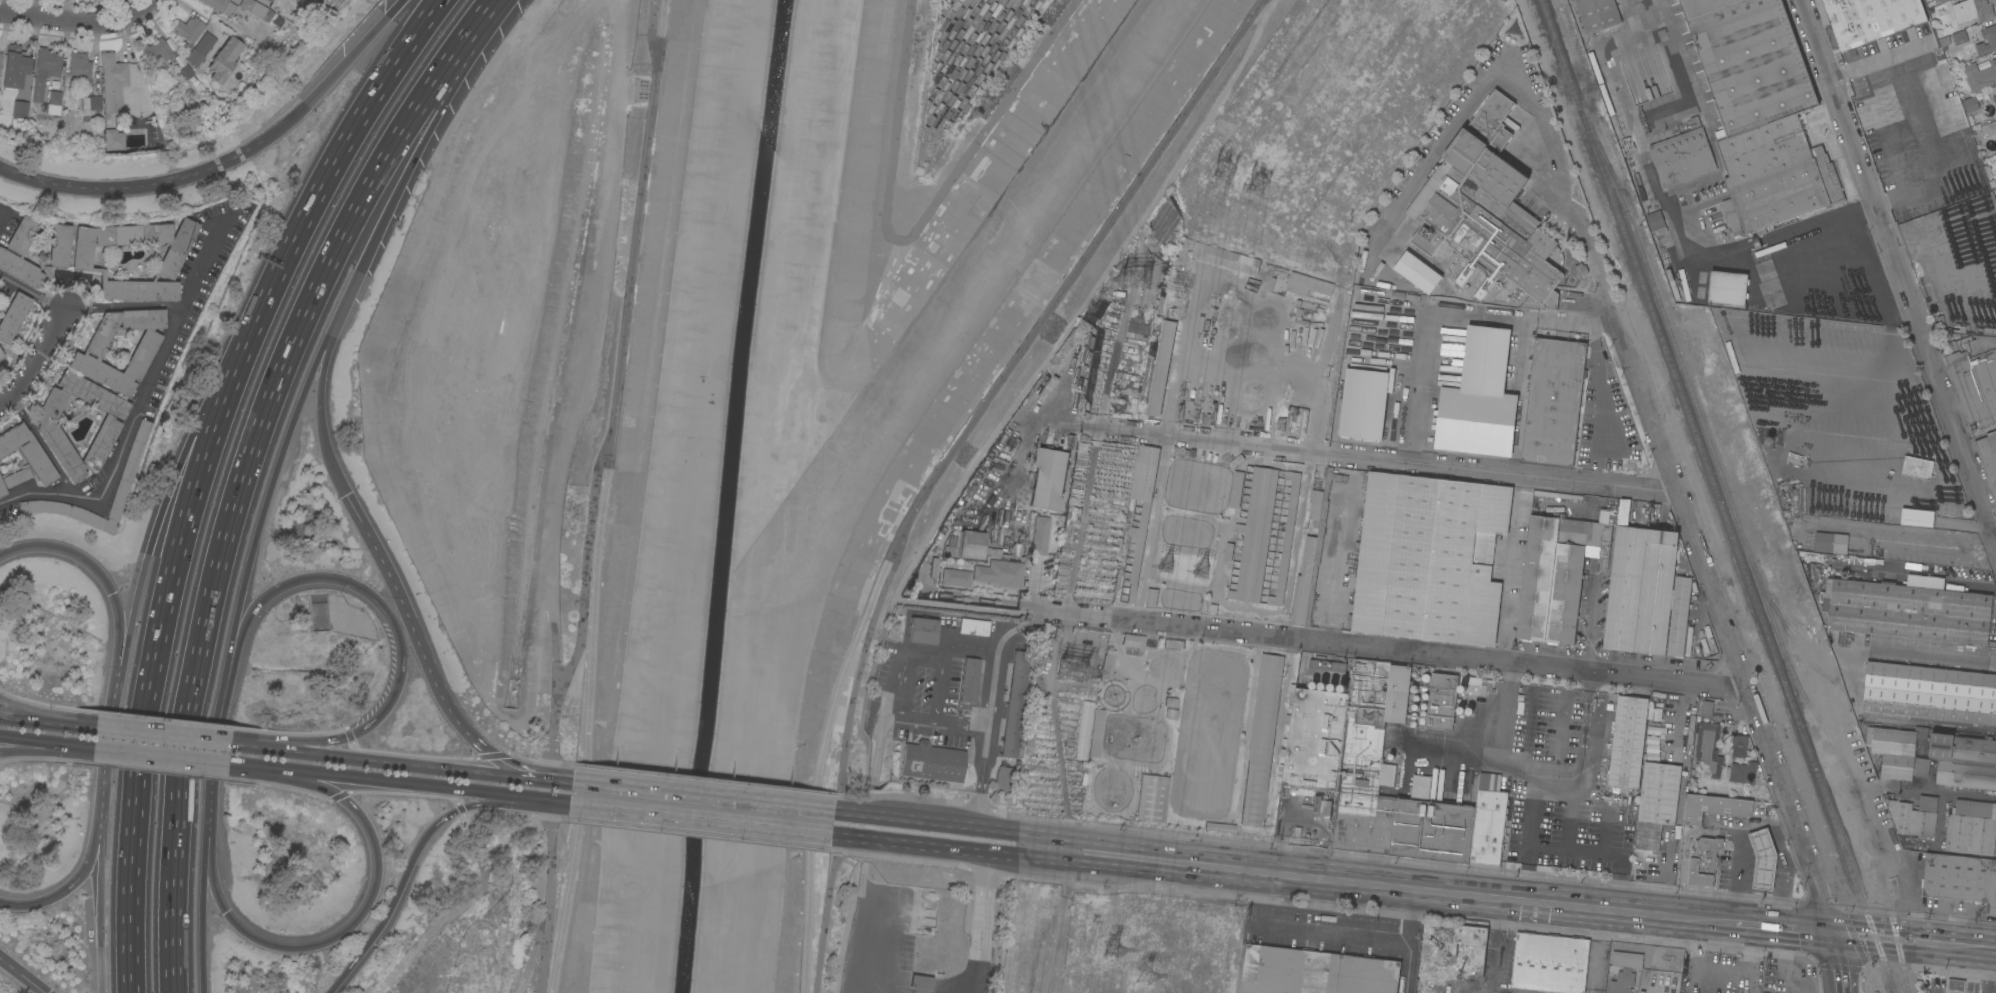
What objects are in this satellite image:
building: (1945, 0)
building: (262, 1)
building: (221, 6)
road: (145, 9)
building: (257, 9)
building: (1973, 10)
building: (1597, 14)
building: (1870, 19)
building: (277, 21)
road: (64, 22)
building: (189, 30)
building: (1960, 36)
building: (1987, 40)
building: (205, 43)
building: (159, 51)
railway: (1559, 53)
building: (194, 57)
building: (0, 58)
building: (223, 59)
road: (1873, 60)
building: (79, 65)
building: (14, 66)
building: (185, 71)
road: (333, 71)
building: (44, 72)
building: (112, 76)
building: (1980, 76)
building: (1994, 99)
building: (90, 102)
building: (52, 103)
building: (1970, 104)
building: (20, 109)
building: (1761, 112)
building: (1989, 128)
building: (113, 140)
road: (422, 140)
road: (1894, 143)
road: (1439, 151)
building: (1682, 156)
road: (333, 169)
power tower: (1221, 174)
road: (134, 185)
power tower: (1256, 187)
building: (1485, 210)
building: (1655, 220)
road: (1814, 220)
road: (635, 221)
building: (1698, 222)
road: (1673, 231)
building: (58, 250)
building: (173, 256)
building: (1210, 258)
road: (201, 265)
building: (1417, 272)
road: (1071, 273)
road: (1899, 273)
power tower: (1133, 280)
building: (1768, 280)
building: (1307, 284)
building: (1727, 287)
road: (32, 292)
road: (1083, 300)
road: (124, 304)
building: (13, 315)
road: (1606, 316)
building: (1988, 332)
road: (1892, 343)
building: (1164, 351)
building: (142, 353)
building: (0, 355)
road: (37, 357)
river: (926, 358)
road: (280, 365)
building: (1974, 376)
building: (1431, 387)
road: (319, 392)
building: (1484, 393)
road: (1599, 400)
building: (1552, 402)
building: (1362, 404)
road: (1514, 413)
building: (1586, 416)
building: (109, 425)
water tower: (1768, 441)
road: (41, 444)
road: (1683, 448)
road: (120, 449)
building: (27, 451)
building: (1926, 454)
building: (1988, 457)
road: (1379, 460)
building: (1917, 467)
building: (13, 478)
building: (1049, 478)
building: (118, 484)
building: (1236, 489)
river: (727, 495)
road: (266, 496)
railway: (1706, 496)
building: (1315, 505)
building: (45, 506)
road: (162, 515)
road: (195, 516)
building: (1144, 518)
building: (1915, 518)
building: (1040, 534)
building: (1255, 535)
building: (1601, 535)
building: (1286, 538)
building: (1319, 538)
railway: (1732, 538)
road: (1994, 538)
building: (1830, 542)
building: (971, 544)
building: (1228, 551)
building: (1307, 555)
building: (1429, 559)
power tower: (1166, 567)
road: (1513, 567)
power tower: (1200, 572)
building: (1000, 573)
building: (956, 577)
road: (104, 579)
building: (1551, 580)
building: (1640, 590)
road: (372, 597)
building: (1151, 597)
building: (1300, 599)
road: (968, 606)
road: (580, 611)
building: (1908, 611)
building: (1679, 616)
road: (1724, 623)
building: (974, 626)
building: (923, 630)
building: (1133, 640)
road: (1396, 648)
road: (920, 650)
road: (422, 653)
power tower: (1068, 661)
building: (1107, 663)
road: (856, 678)
building: (969, 680)
parking lot: (916, 682)
road: (942, 687)
road: (867, 693)
building: (1930, 693)
building: (1441, 700)
building: (1170, 701)
building: (1014, 704)
road: (20, 706)
road: (989, 706)
building: (1706, 708)
building: (1171, 714)
road: (18, 716)
road: (587, 719)
road: (915, 721)
road: (67, 723)
road: (962, 727)
building: (1083, 730)
road: (148, 732)
parking lot: (931, 733)
building: (1096, 733)
road: (163, 735)
building: (1261, 739)
road: (47, 741)
building: (1627, 741)
road: (108, 743)
road: (46, 746)
building: (1739, 746)
building: (1708, 747)
road: (877, 749)
road: (215, 752)
building: (1899, 752)
road: (162, 755)
road: (343, 756)
building: (931, 761)
building: (1964, 761)
road: (820, 767)
road: (263, 768)
building: (1379, 770)
building: (1742, 772)
road: (499, 773)
road: (1542, 773)
road: (557, 779)
road: (695, 779)
building: (1002, 779)
road: (375, 781)
road: (1946, 793)
road: (501, 795)
road: (703, 796)
building: (1152, 797)
road: (1683, 800)
building: (1314, 802)
road: (559, 803)
building: (1656, 803)
building: (1714, 807)
road: (835, 810)
road: (1568, 812)
road: (98, 816)
building: (1914, 817)
road: (700, 820)
road: (991, 827)
building: (1220, 827)
road: (1605, 827)
building: (1971, 828)
road: (835, 836)
road: (1529, 837)
road: (987, 852)
road: (1603, 852)
building: (1763, 859)
building: (1641, 861)
building: (1703, 862)
road: (407, 865)
building: (1960, 878)
road: (174, 883)
road: (135, 885)
road: (1400, 888)
road: (201, 891)
road: (61, 892)
road: (100, 892)
road: (547, 897)
road: (824, 913)
road: (1682, 917)
road: (1711, 920)
road: (980, 923)
road: (845, 927)
road: (871, 927)
road: (1778, 927)
road: (1332, 938)
road: (320, 940)
road: (1410, 941)
road: (1913, 941)
road: (1496, 945)
power tower: (1117, 950)
road: (1594, 950)
parking lot: (877, 956)
building: (1451, 959)
road: (1756, 959)
building: (1627, 960)
road: (1837, 962)
building: (1550, 963)
road: (1699, 969)
road: (1990, 971)
building: (1312, 972)
road: (22, 975)
power tower: (1153, 975)
building: (1622, 982)
railway: (1889, 982)
building: (921, 983)
building: (1955, 984)
road: (1489, 992)

